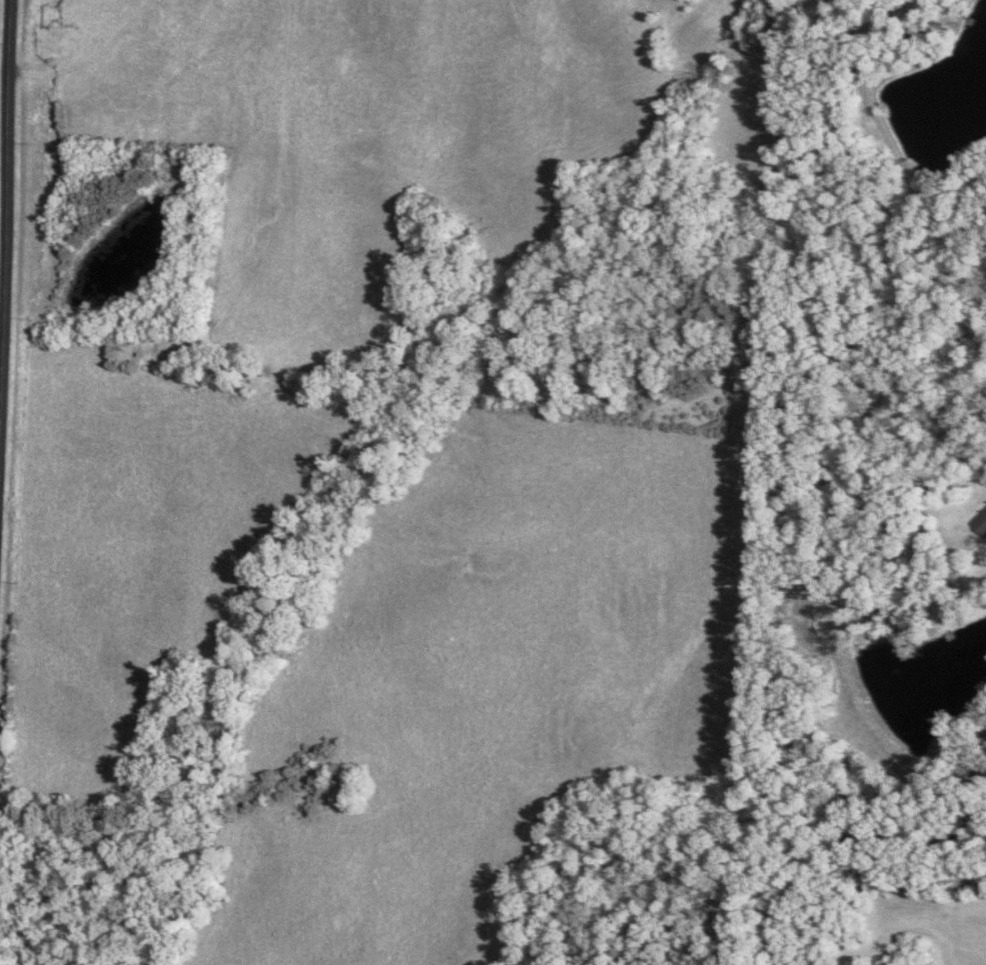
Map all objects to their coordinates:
road: (9, 223)
road: (3, 330)
building: (980, 523)

